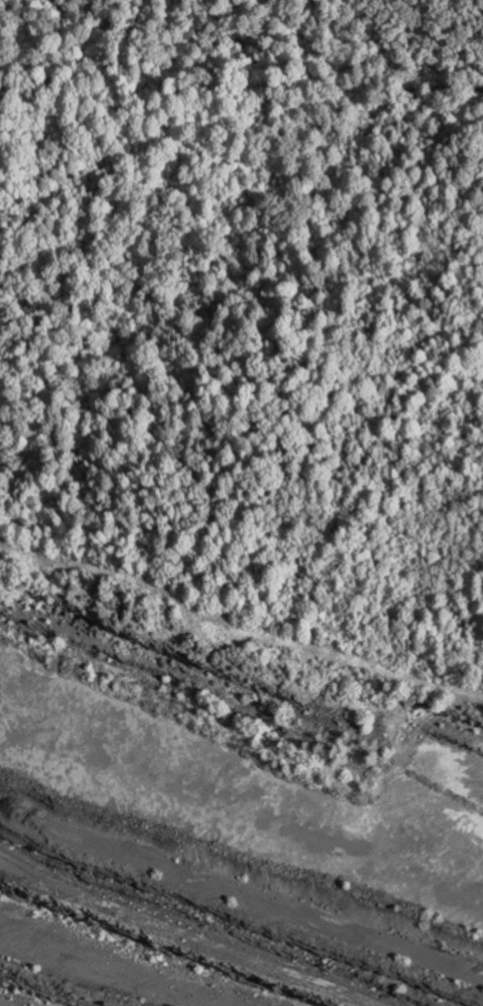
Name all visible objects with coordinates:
road: (239, 621)
quarry: (218, 832)

